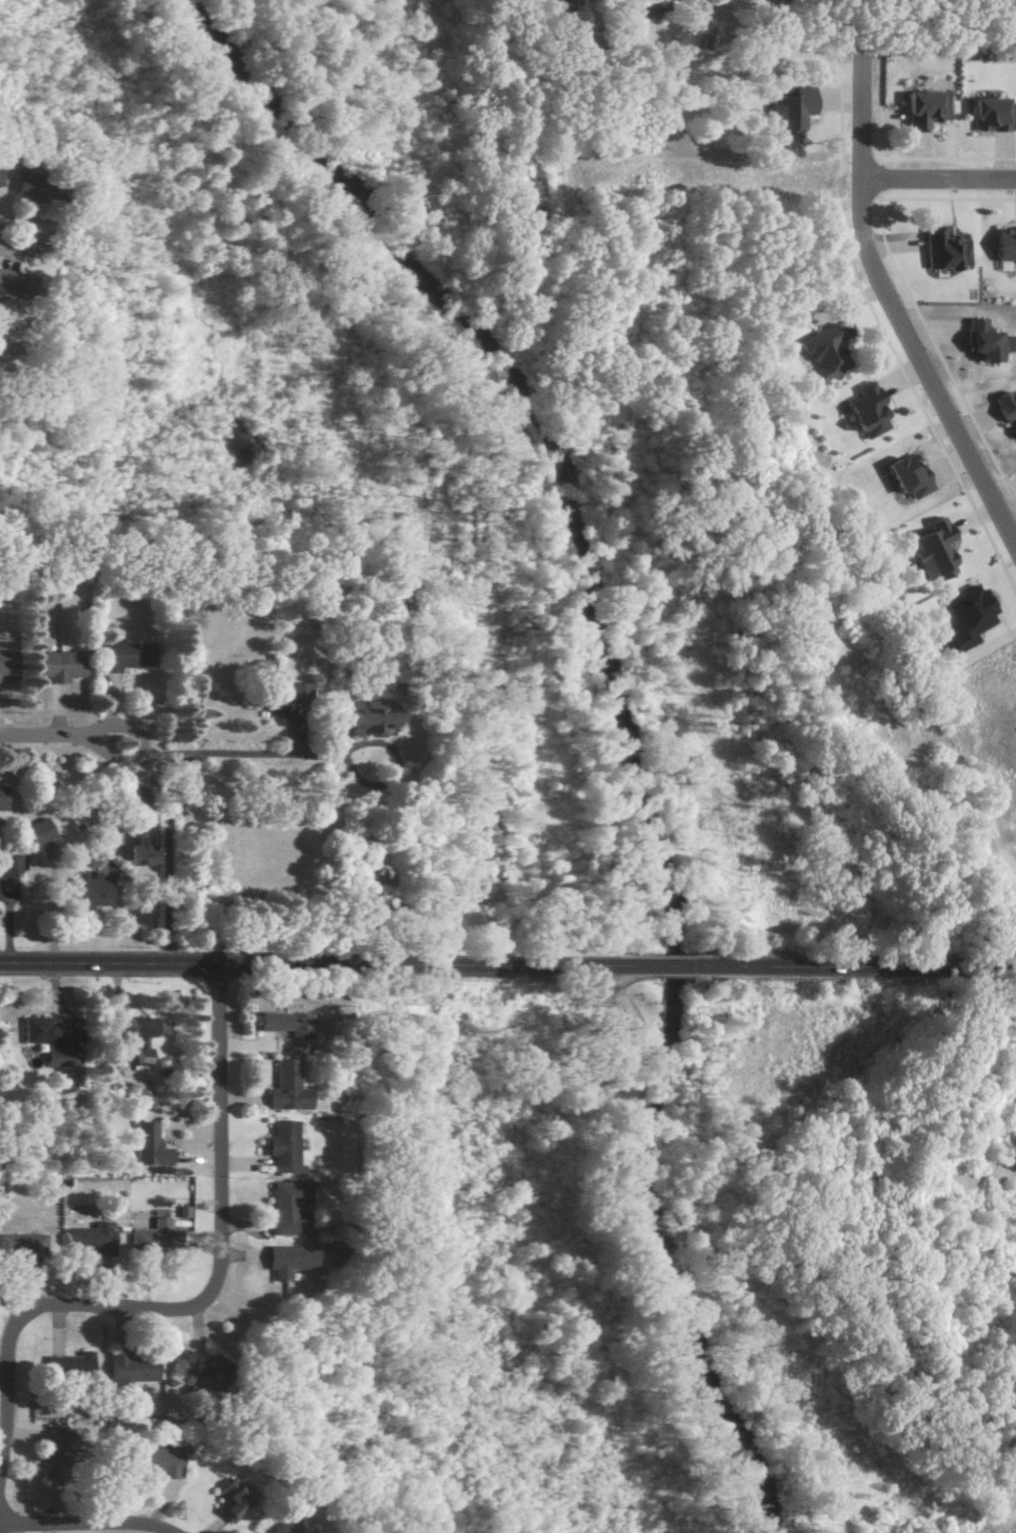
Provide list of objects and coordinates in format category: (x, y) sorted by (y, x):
building: (562, 4)
building: (924, 109)
building: (788, 112)
building: (992, 115)
road: (940, 177)
road: (37, 222)
building: (1006, 245)
building: (943, 251)
building: (7, 284)
road: (898, 311)
building: (983, 341)
building: (824, 350)
building: (1006, 409)
building: (866, 410)
building: (907, 476)
building: (933, 551)
building: (965, 618)
building: (111, 657)
building: (6, 663)
building: (54, 665)
building: (292, 692)
building: (365, 718)
road: (39, 735)
road: (139, 742)
road: (156, 755)
road: (160, 792)
building: (38, 831)
building: (9, 863)
building: (92, 888)
road: (856, 967)
road: (321, 968)
road: (670, 968)
building: (287, 1028)
building: (139, 1037)
building: (284, 1087)
building: (144, 1146)
building: (278, 1147)
building: (280, 1210)
building: (179, 1211)
building: (153, 1233)
building: (87, 1238)
road: (635, 1247)
building: (283, 1259)
road: (201, 1305)
building: (68, 1362)
building: (127, 1369)
building: (200, 1381)
building: (54, 1453)
building: (153, 1460)
building: (228, 1499)
road: (84, 1526)
building: (278, 1527)

